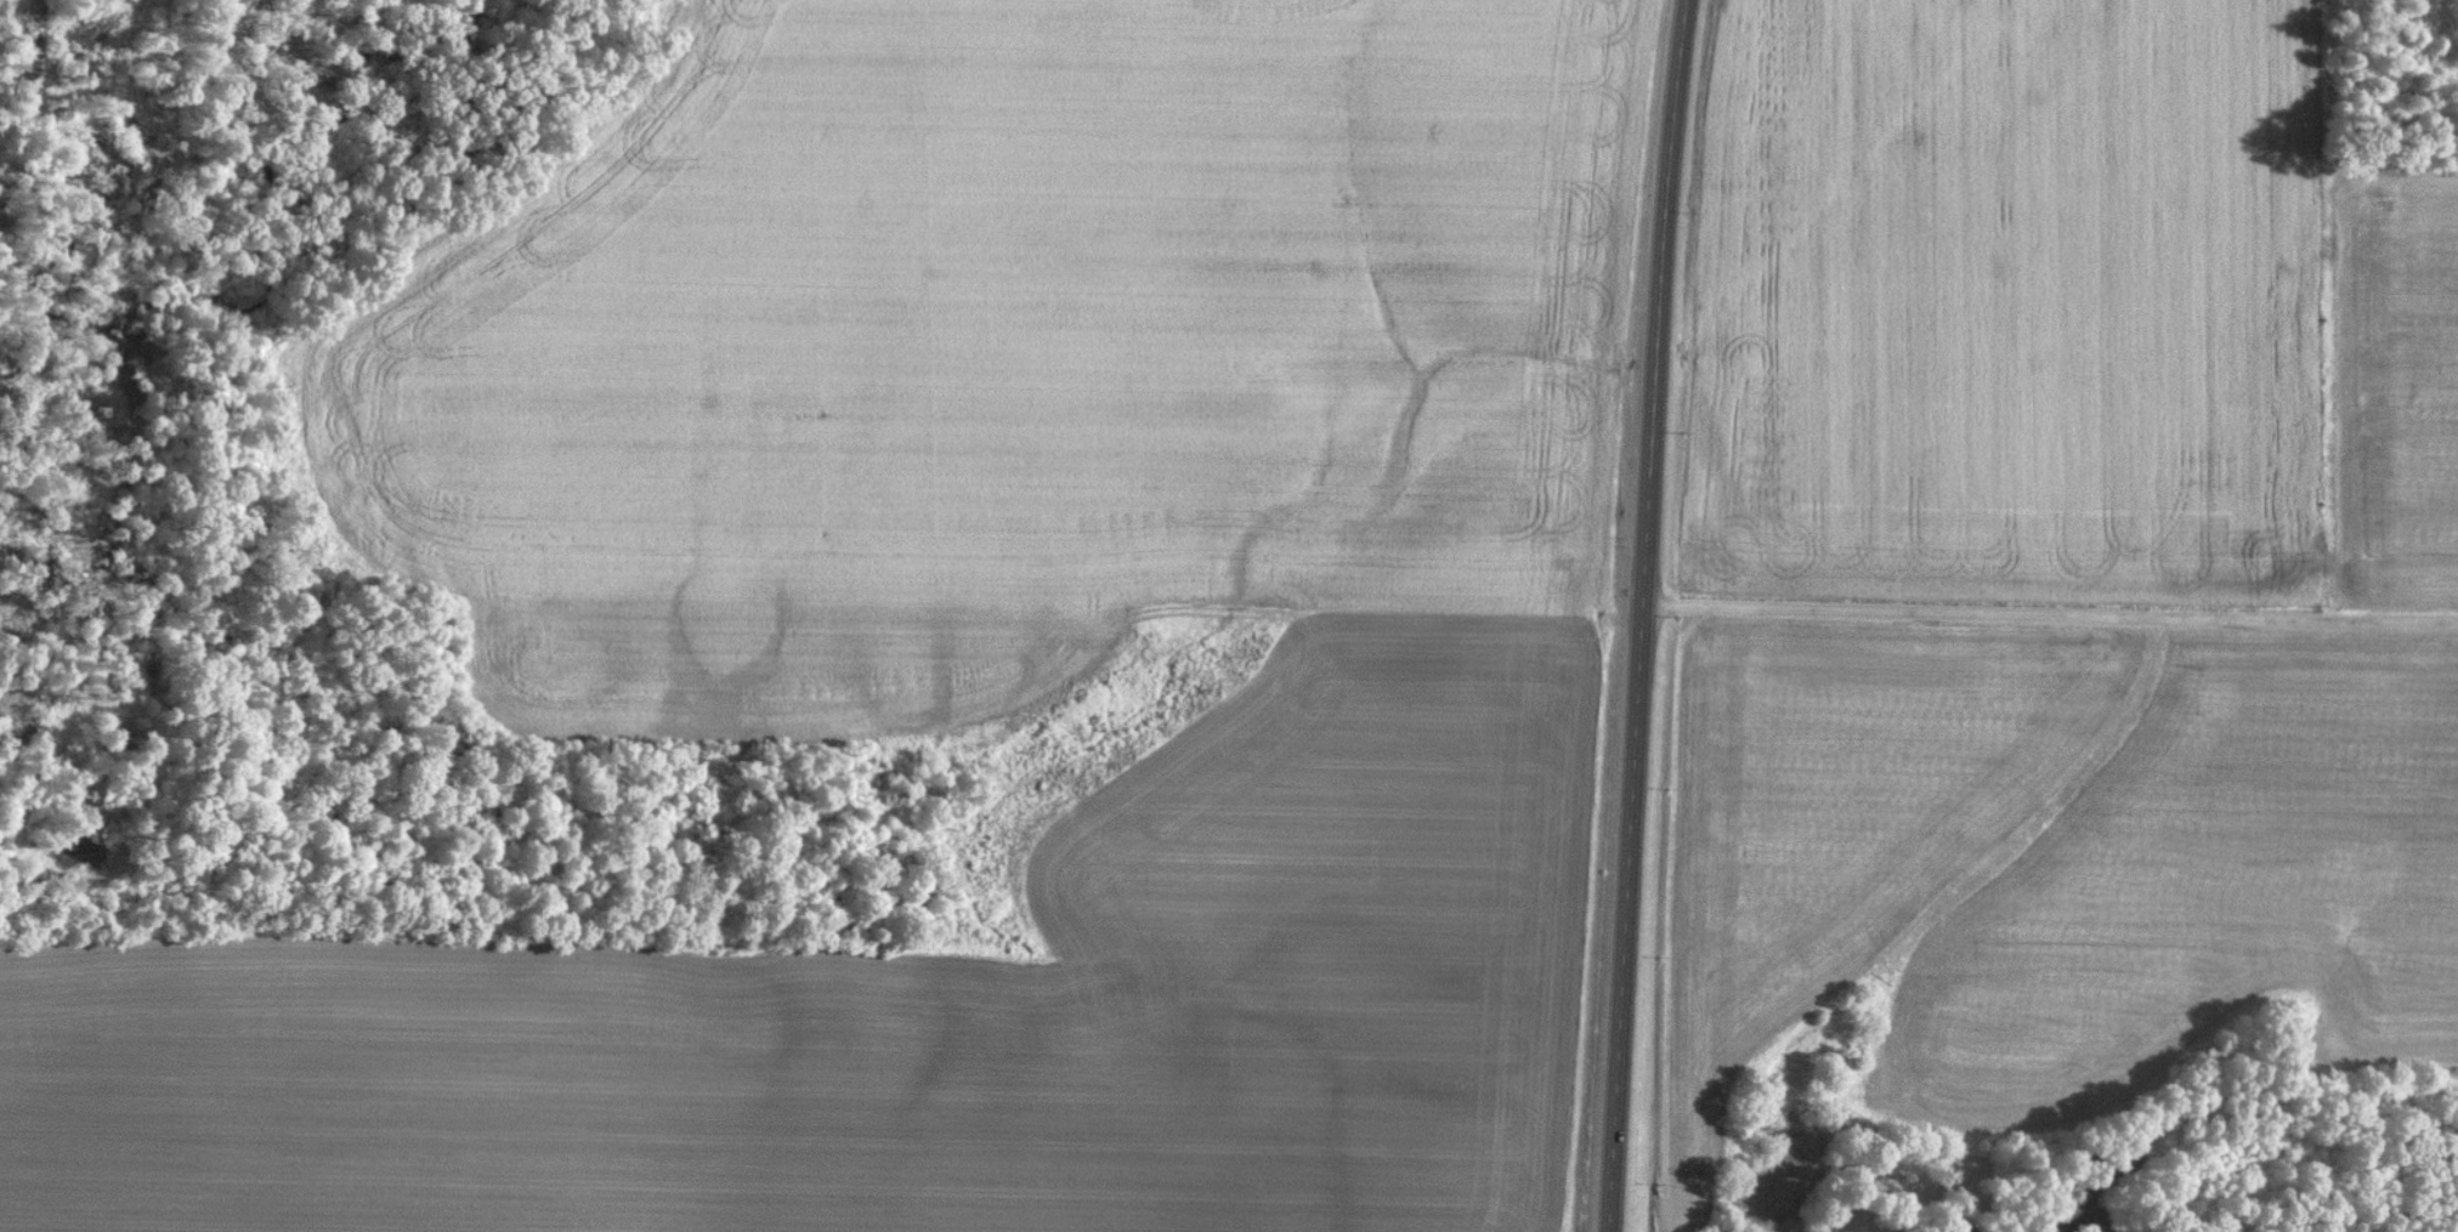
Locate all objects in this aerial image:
road: (2049, 614)
road: (1639, 615)

